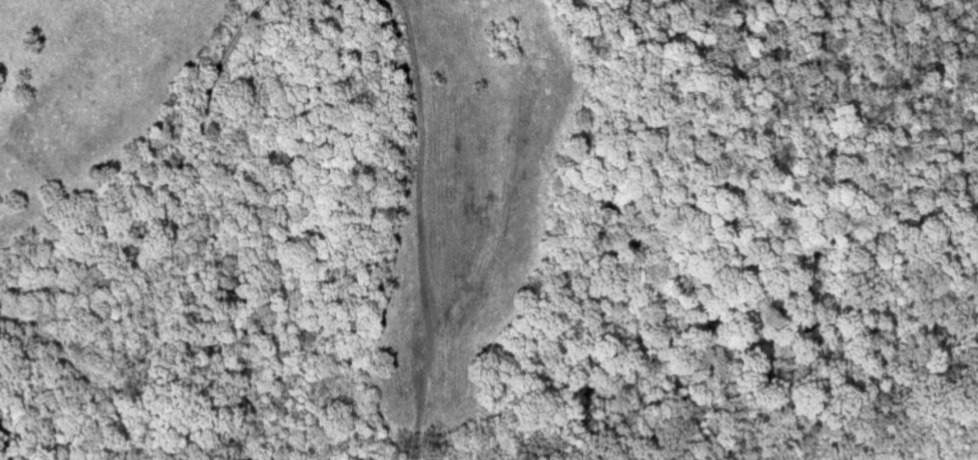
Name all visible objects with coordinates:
road: (145, 187)
road: (412, 229)
road: (5, 447)

